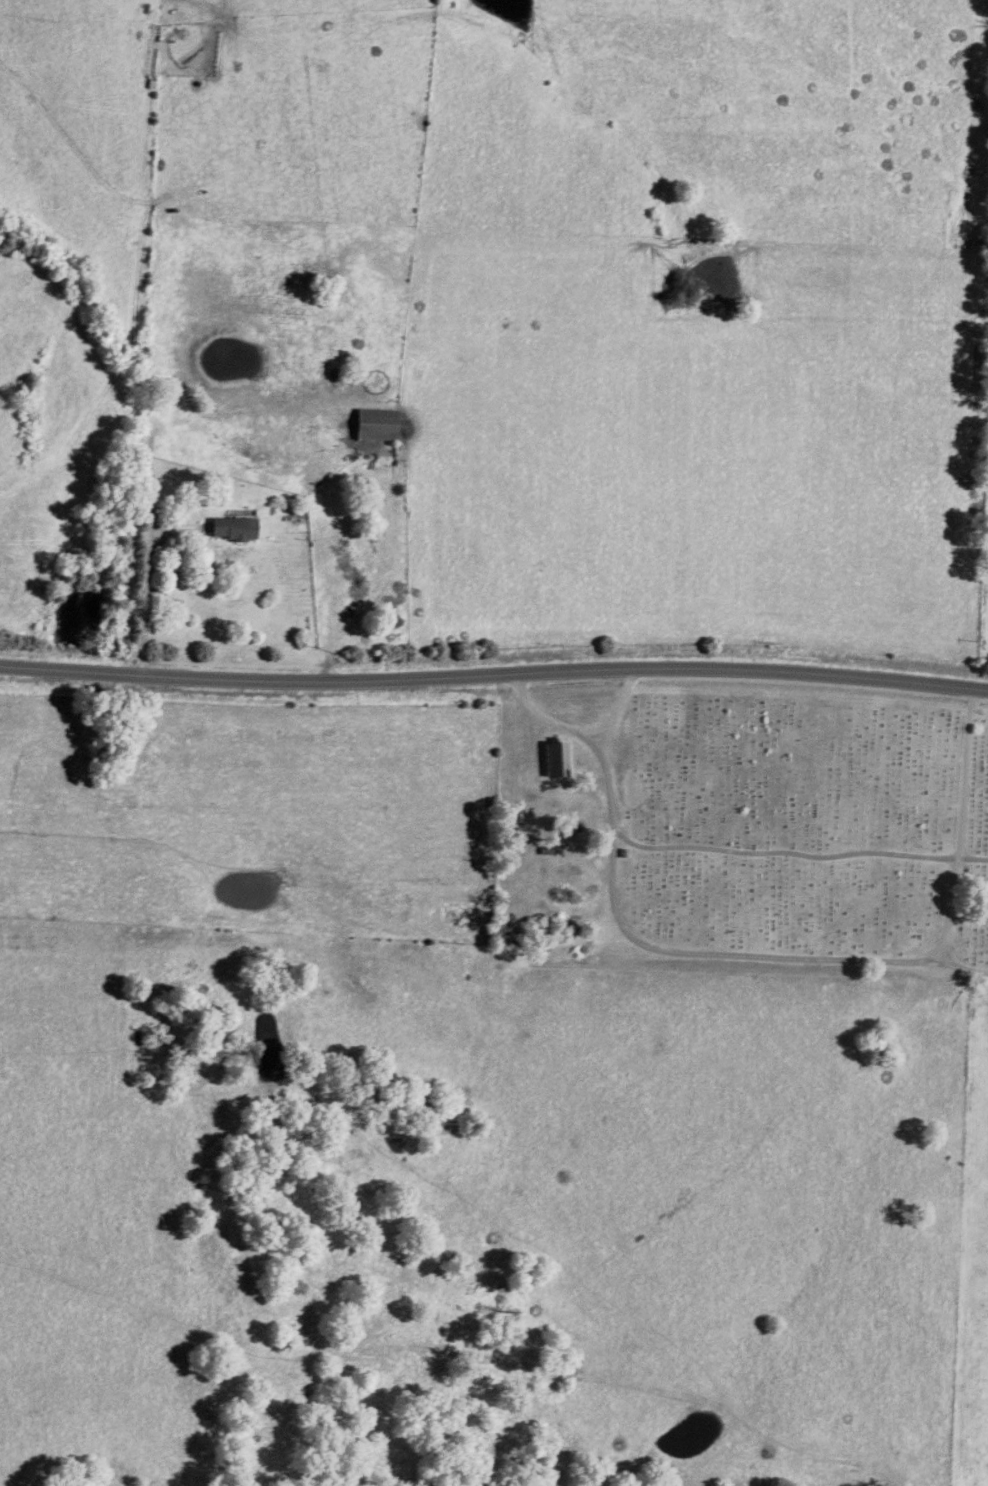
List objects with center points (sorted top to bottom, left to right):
building: (374, 427)
building: (231, 530)
road: (141, 605)
road: (494, 676)
building: (553, 762)
park: (794, 837)
road: (758, 955)
road: (961, 969)

